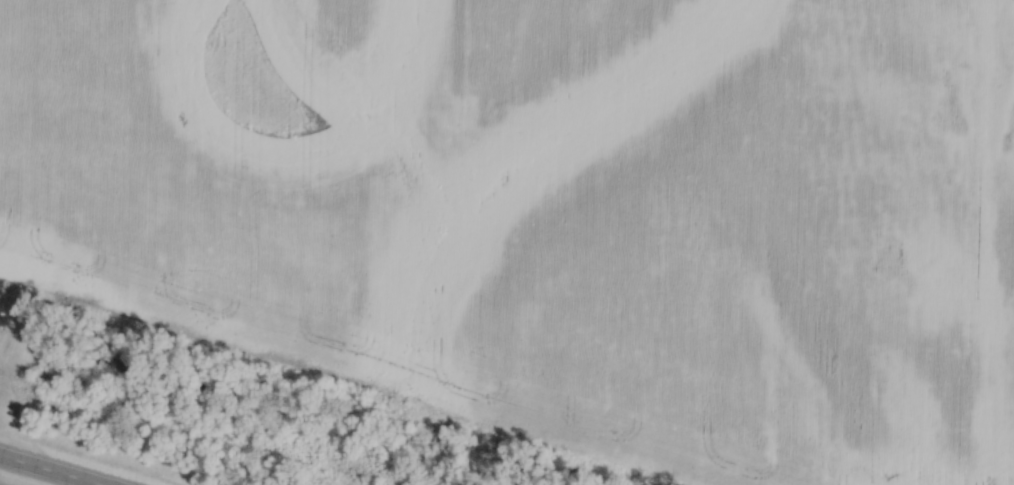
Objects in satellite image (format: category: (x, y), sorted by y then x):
road: (53, 469)

